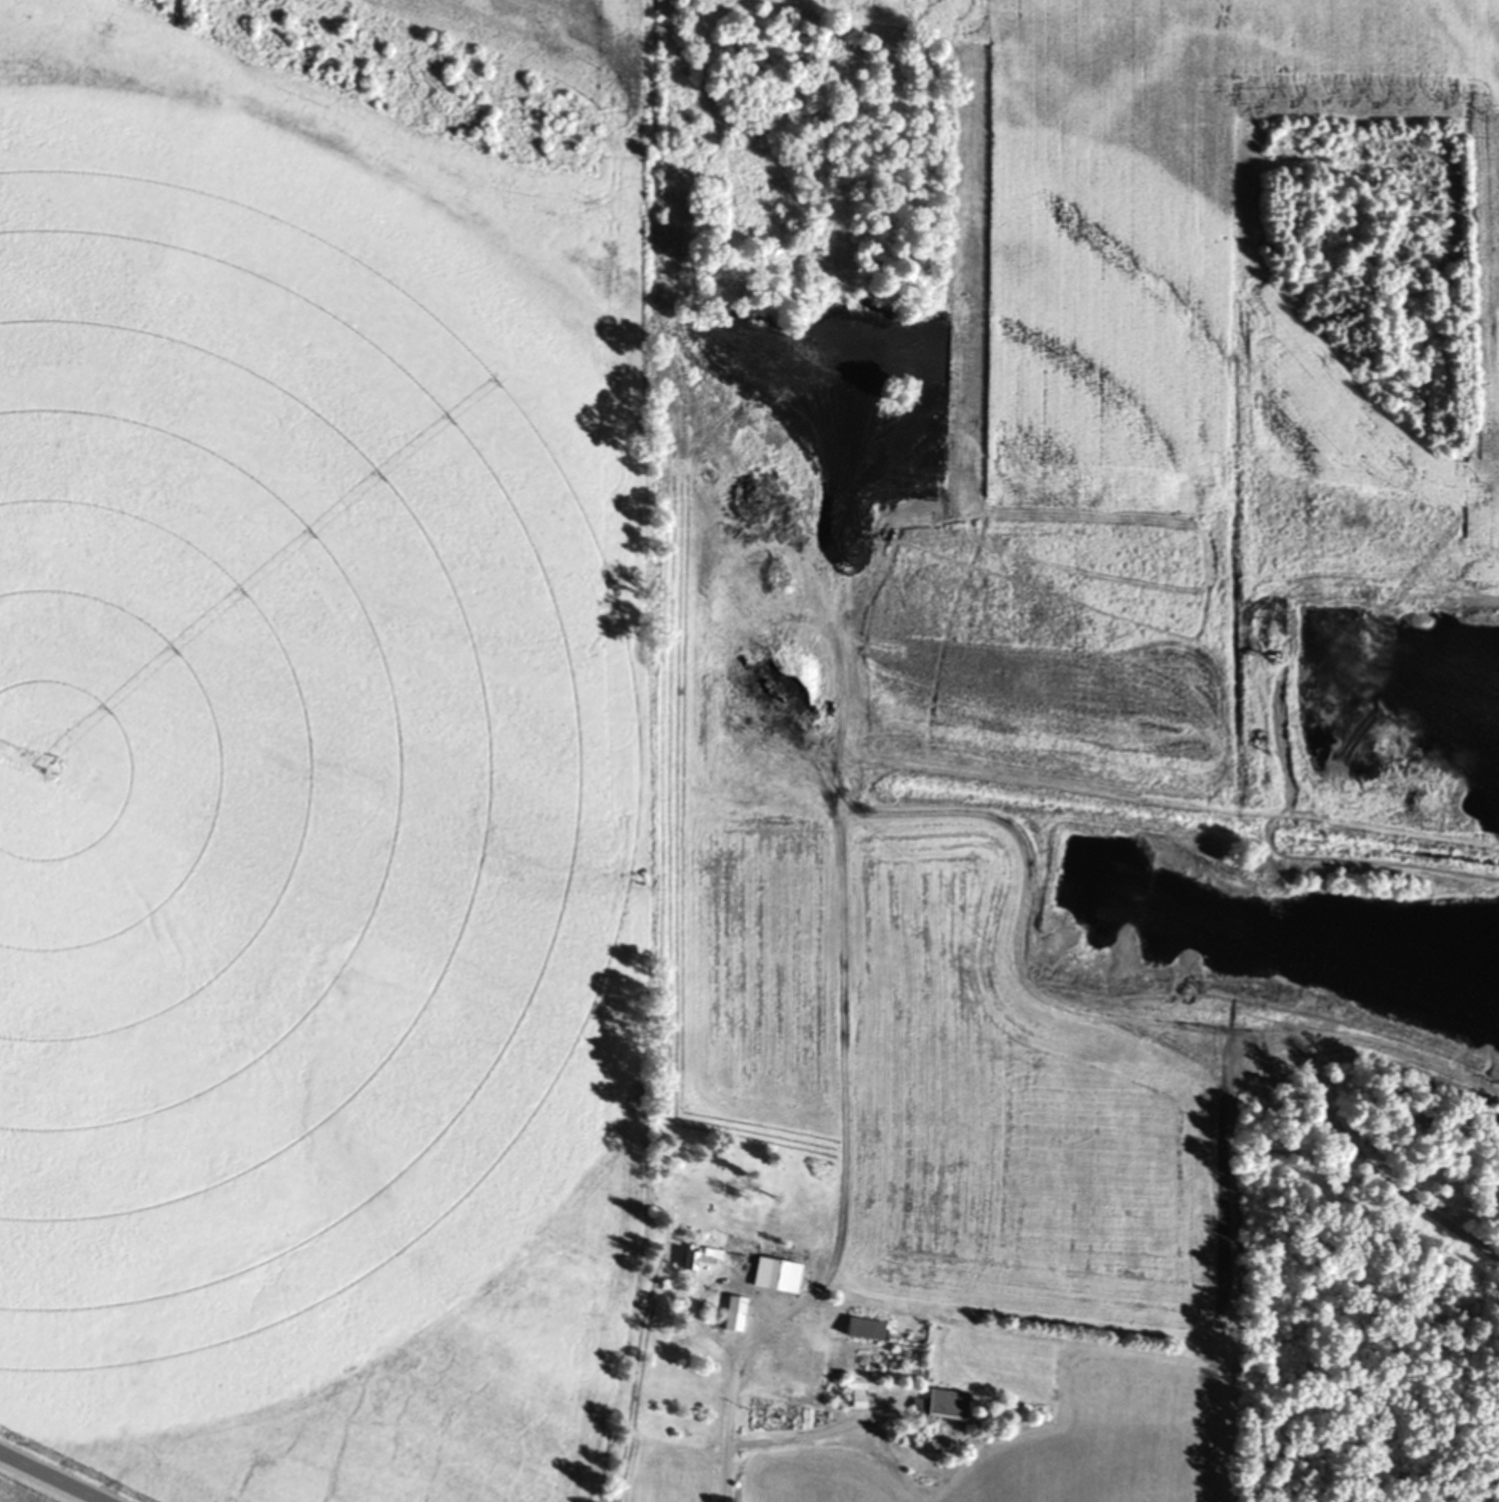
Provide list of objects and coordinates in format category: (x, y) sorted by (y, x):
building: (734, 1253)
building: (702, 1261)
building: (777, 1275)
building: (736, 1306)
building: (864, 1328)
building: (797, 1361)
building: (856, 1392)
road: (735, 1394)
building: (941, 1404)
road: (816, 1429)
road: (50, 1478)

